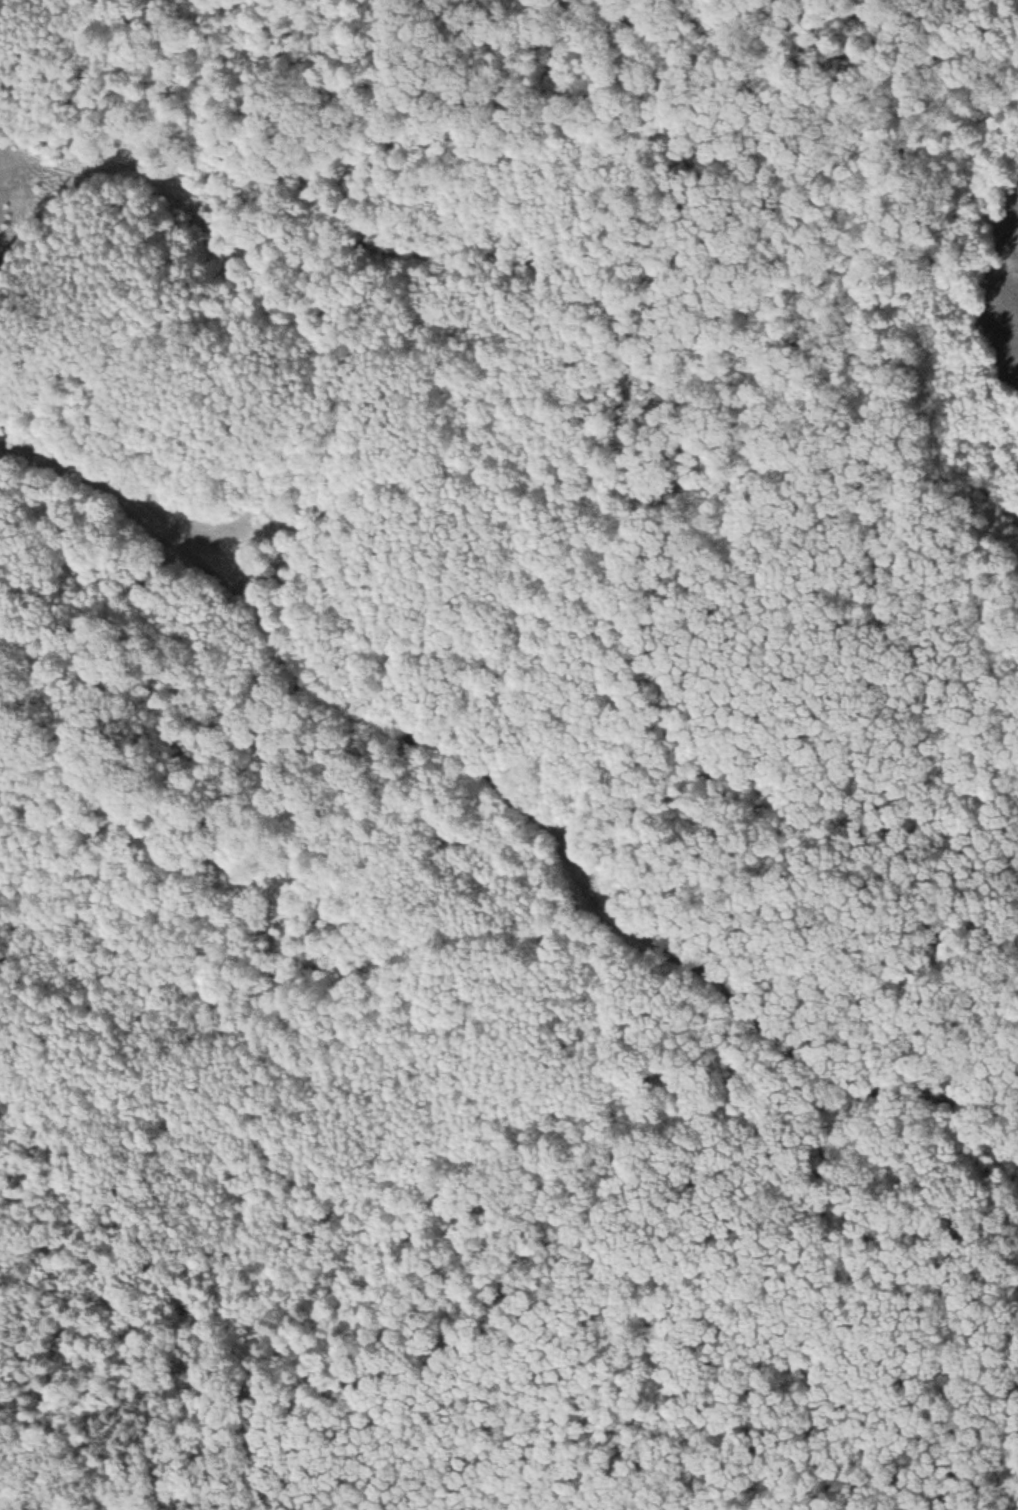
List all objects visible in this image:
road: (500, 797)

